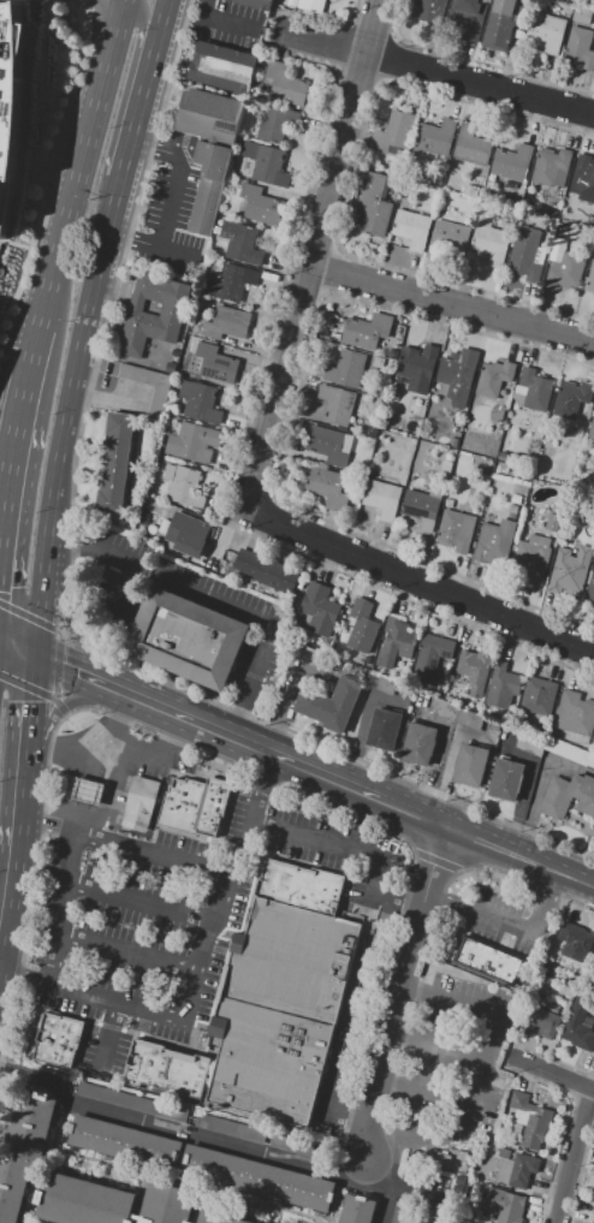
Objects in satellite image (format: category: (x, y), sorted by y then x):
road: (89, 4)
building: (254, 4)
building: (308, 5)
building: (566, 8)
building: (432, 10)
road: (161, 14)
building: (581, 14)
road: (142, 17)
building: (468, 17)
road: (216, 22)
building: (499, 24)
building: (546, 30)
building: (580, 47)
building: (221, 67)
road: (434, 67)
building: (285, 83)
building: (10, 99)
road: (136, 106)
building: (209, 117)
building: (277, 123)
building: (394, 132)
building: (434, 138)
building: (471, 147)
road: (155, 149)
road: (46, 160)
road: (82, 162)
building: (512, 162)
building: (266, 164)
building: (550, 166)
building: (586, 174)
building: (436, 180)
building: (208, 185)
building: (473, 191)
building: (374, 204)
building: (260, 206)
road: (162, 225)
building: (411, 228)
building: (447, 237)
road: (130, 238)
building: (240, 243)
building: (491, 244)
road: (28, 249)
road: (309, 251)
building: (525, 255)
building: (565, 271)
building: (590, 278)
building: (231, 283)
road: (450, 303)
road: (108, 309)
road: (23, 311)
building: (226, 323)
building: (152, 326)
building: (366, 331)
building: (215, 363)
building: (417, 367)
building: (344, 368)
road: (30, 373)
building: (458, 375)
building: (493, 378)
building: (531, 390)
building: (571, 398)
building: (200, 402)
building: (158, 403)
building: (335, 404)
building: (593, 405)
road: (66, 415)
building: (592, 429)
building: (192, 443)
building: (453, 443)
building: (327, 444)
road: (13, 453)
building: (503, 457)
building: (114, 464)
building: (446, 465)
building: (184, 485)
building: (326, 487)
building: (381, 498)
building: (515, 499)
building: (422, 506)
road: (2, 511)
building: (512, 511)
building: (552, 522)
building: (456, 530)
building: (188, 534)
building: (494, 541)
building: (531, 559)
building: (266, 570)
building: (569, 570)
road: (418, 578)
building: (590, 592)
road: (220, 596)
building: (319, 608)
road: (67, 617)
road: (69, 628)
building: (360, 628)
road: (58, 633)
building: (185, 639)
building: (394, 642)
road: (16, 645)
traffic signals: (34, 651)
building: (432, 659)
road: (81, 671)
building: (474, 671)
building: (501, 685)
road: (35, 690)
building: (537, 697)
traffic signals: (29, 702)
road: (28, 703)
road: (155, 703)
building: (329, 703)
road: (63, 705)
building: (455, 713)
building: (575, 713)
building: (382, 730)
road: (227, 734)
building: (418, 744)
road: (65, 748)
building: (556, 749)
road: (447, 764)
building: (470, 765)
road: (22, 768)
building: (505, 779)
road: (536, 789)
road: (357, 790)
building: (87, 791)
gas station: (87, 791)
building: (568, 796)
building: (141, 800)
building: (194, 806)
road: (73, 833)
road: (40, 837)
road: (480, 842)
road: (10, 844)
road: (123, 844)
road: (355, 849)
road: (433, 861)
road: (547, 869)
building: (299, 884)
road: (586, 884)
road: (441, 900)
road: (141, 901)
road: (540, 902)
road: (493, 919)
parking lot: (130, 925)
building: (575, 942)
road: (127, 954)
building: (593, 955)
building: (488, 961)
road: (195, 976)
building: (552, 1007)
building: (278, 1010)
building: (545, 1023)
road: (391, 1025)
building: (578, 1026)
road: (108, 1029)
building: (57, 1040)
parking lot: (441, 1062)
building: (165, 1069)
road: (553, 1075)
road: (480, 1076)
building: (132, 1103)
parking lot: (132, 1103)
building: (530, 1120)
building: (230, 1129)
parking lot: (230, 1129)
road: (191, 1134)
building: (125, 1142)
building: (293, 1145)
parking lot: (293, 1145)
building: (23, 1151)
road: (180, 1157)
road: (572, 1157)
road: (48, 1160)
building: (483, 1166)
building: (516, 1168)
road: (375, 1174)
building: (259, 1179)
road: (186, 1186)
road: (139, 1199)
road: (411, 1199)
building: (82, 1201)
road: (338, 1201)
building: (167, 1204)
road: (197, 1206)
road: (384, 1207)
building: (593, 1207)
building: (357, 1210)
building: (511, 1210)
road: (430, 1213)
building: (404, 1215)
parking lot: (404, 1215)
building: (216, 1218)
building: (593, 1219)

